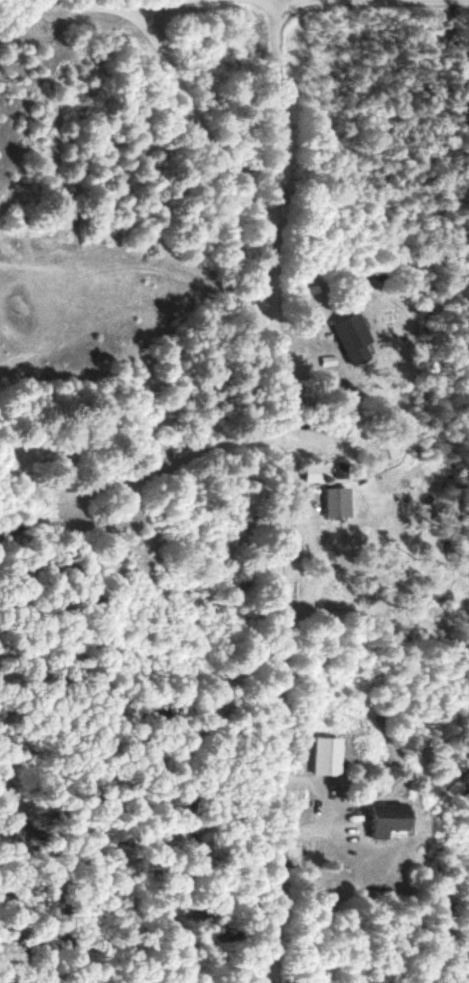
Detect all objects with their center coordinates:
road: (24, 0)
road: (455, 0)
road: (260, 5)
building: (358, 337)
building: (323, 472)
road: (277, 491)
building: (345, 502)
building: (398, 820)

